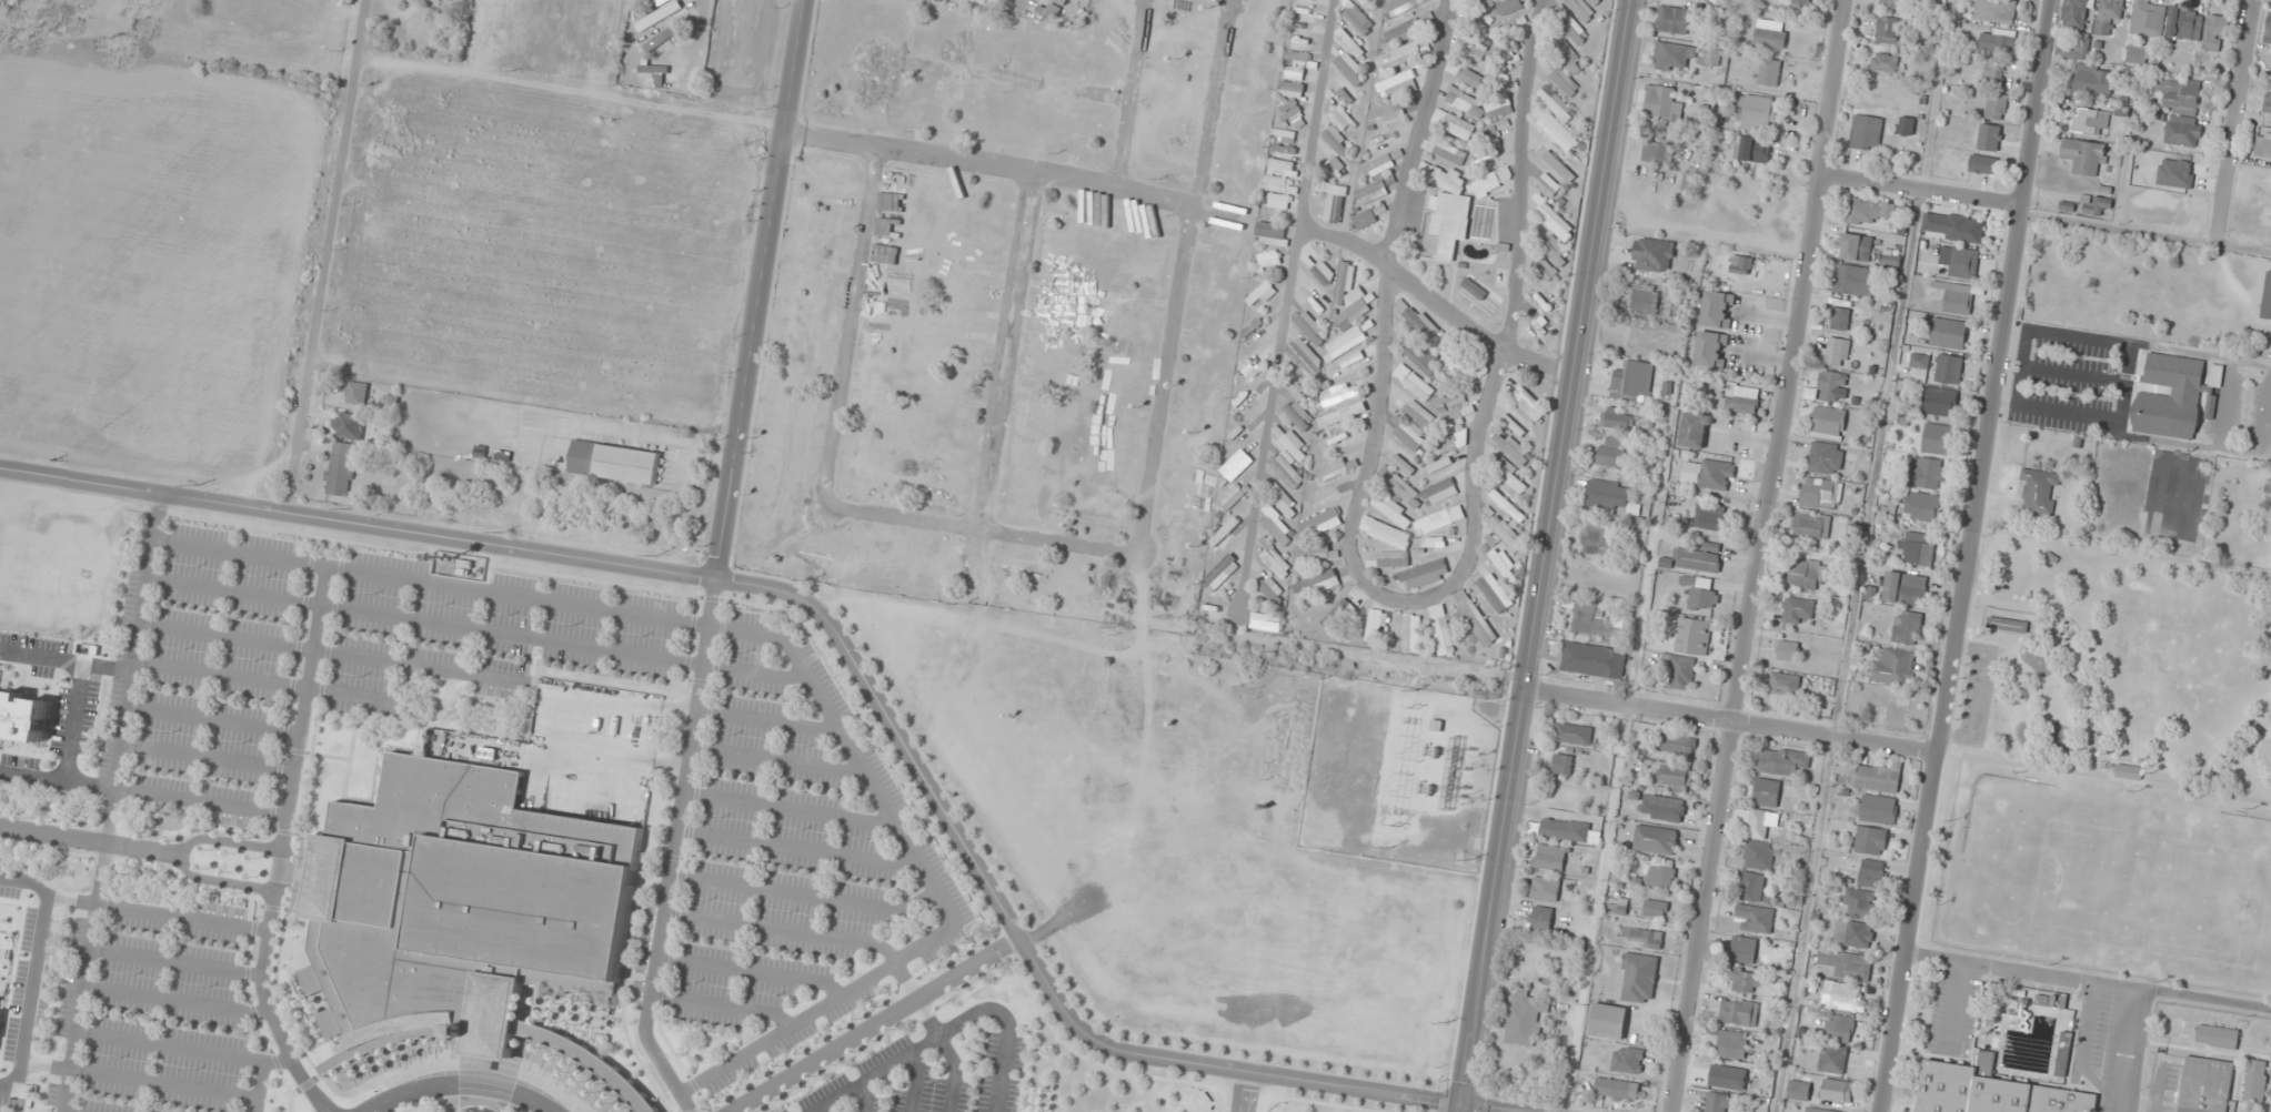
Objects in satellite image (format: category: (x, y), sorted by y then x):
building: (967, 1)
building: (1062, 1)
building: (1594, 1)
building: (1801, 1)
building: (84, 2)
building: (1368, 3)
building: (1897, 3)
building: (1400, 6)
building: (1580, 10)
building: (1994, 10)
building: (1302, 13)
building: (2074, 13)
building: (2108, 14)
building: (2149, 18)
building: (652, 19)
building: (1358, 19)
building: (1674, 19)
building: (1471, 21)
building: (2184, 22)
building: (1508, 26)
building: (1889, 29)
building: (1404, 30)
building: (1574, 30)
building: (2215, 30)
building: (1770, 32)
building: (2268, 36)
building: (662, 38)
building: (1997, 42)
building: (1354, 43)
building: (1299, 49)
building: (1488, 49)
building: (2137, 52)
building: (1398, 55)
building: (1684, 55)
building: (1568, 57)
building: (1885, 62)
building: (1350, 69)
building: (654, 70)
building: (1768, 71)
building: (1470, 77)
building: (2093, 79)
road: (1002, 80)
building: (1564, 81)
building: (1396, 83)
building: (1876, 88)
building: (1292, 89)
building: (2179, 92)
building: (1345, 93)
road: (1132, 94)
building: (1658, 101)
building: (1475, 103)
road: (1215, 104)
building: (2268, 105)
building: (1996, 107)
building: (1756, 110)
building: (1290, 112)
building: (1387, 112)
building: (1342, 119)
building: (2090, 121)
road: (2235, 121)
building: (1453, 123)
building: (1906, 125)
building: (1554, 128)
building: (2184, 131)
building: (1866, 132)
building: (1285, 135)
building: (1385, 140)
building: (1337, 141)
building: (1752, 150)
building: (1449, 152)
building: (1657, 152)
building: (1491, 154)
building: (2084, 156)
building: (1283, 159)
building: (1555, 161)
building: (1380, 163)
building: (1982, 164)
road: (1014, 169)
building: (1491, 182)
building: (1688, 183)
building: (1549, 184)
road: (1921, 191)
building: (1280, 192)
building: (1371, 192)
building: (1335, 203)
building: (2093, 204)
building: (1448, 208)
building: (1865, 211)
building: (1365, 219)
building: (1555, 221)
building: (1484, 222)
building: (1952, 226)
building: (1270, 233)
building: (1856, 246)
building: (1555, 250)
building: (1654, 254)
road: (332, 256)
building: (1964, 262)
building: (1740, 264)
building: (1545, 269)
building: (1500, 277)
building: (1855, 280)
road: (761, 290)
building: (1262, 294)
building: (1479, 294)
building: (1313, 296)
building: (1955, 296)
building: (1645, 300)
road: (1438, 302)
road: (1289, 307)
building: (1717, 309)
building: (1351, 313)
building: (1839, 319)
building: (1310, 327)
road: (851, 328)
building: (1948, 333)
building: (1346, 341)
building: (1711, 350)
road: (1006, 352)
building: (1837, 352)
building: (1254, 360)
building: (1440, 360)
building: (1349, 362)
building: (1919, 363)
building: (1948, 370)
building: (2215, 376)
building: (1632, 380)
road: (1167, 383)
building: (1418, 386)
building: (1831, 386)
building: (1343, 391)
building: (359, 393)
building: (1249, 393)
building: (2169, 397)
building: (1451, 398)
building: (1746, 401)
building: (1939, 402)
building: (1528, 403)
building: (2210, 407)
building: (1418, 413)
building: (1297, 414)
building: (1343, 415)
building: (1618, 421)
building: (1249, 422)
building: (1828, 422)
building: (351, 425)
building: (1695, 429)
building: (1408, 436)
building: (1937, 438)
building: (1448, 443)
building: (1295, 445)
building: (1511, 446)
building: (1611, 453)
building: (1825, 458)
building: (615, 462)
building: (1443, 467)
building: (342, 468)
building: (1232, 468)
building: (1286, 468)
building: (1332, 468)
building: (1929, 473)
building: (1509, 475)
building: (1716, 475)
building: (1400, 486)
building: (1440, 492)
building: (2038, 492)
building: (1608, 494)
building: (1820, 494)
building: (1229, 497)
building: (1283, 499)
building: (1922, 507)
building: (1710, 516)
building: (1439, 519)
building: (1322, 522)
building: (1277, 525)
building: (1811, 525)
road: (982, 532)
building: (1507, 533)
building: (1225, 534)
building: (1595, 537)
building: (1918, 549)
building: (1316, 550)
building: (1404, 553)
road: (1547, 555)
road: (1759, 555)
road: (1968, 556)
building: (1700, 558)
building: (1275, 559)
building: (1504, 565)
building: (1220, 573)
road: (982, 575)
building: (1808, 575)
road: (430, 582)
building: (1316, 583)
building: (1270, 588)
building: (1491, 588)
building: (1905, 589)
building: (1702, 595)
road: (1410, 598)
building: (1798, 609)
building: (1338, 611)
building: (1474, 618)
building: (1597, 619)
building: (1266, 620)
building: (1373, 625)
building: (2008, 625)
building: (1907, 627)
road: (476, 628)
building: (1441, 630)
building: (1409, 633)
building: (1694, 636)
road: (847, 650)
building: (1789, 650)
road: (42, 651)
road: (331, 651)
building: (1594, 659)
park: (2129, 661)
road: (109, 666)
road: (133, 667)
building: (1893, 667)
building: (1682, 673)
building: (1785, 684)
road: (289, 685)
power tower: (1414, 707)
building: (22, 715)
road: (764, 719)
road: (213, 720)
road: (1732, 721)
building: (1574, 734)
building: (1677, 744)
road: (69, 747)
road: (208, 758)
road: (775, 760)
building: (1781, 761)
building: (1562, 764)
building: (2129, 770)
power substation: (1398, 775)
building: (1674, 778)
building: (1878, 778)
road: (84, 782)
building: (1767, 792)
road: (201, 801)
building: (1662, 808)
road: (786, 809)
building: (1878, 809)
building: (1756, 821)
power tower: (1395, 826)
building: (1565, 829)
road: (53, 833)
road: (282, 840)
building: (1656, 840)
building: (1869, 840)
road: (796, 847)
road: (145, 848)
road: (671, 851)
road: (184, 855)
building: (1759, 855)
building: (1549, 857)
building: (1659, 873)
building: (1871, 878)
park: (2101, 878)
road: (934, 886)
building: (1752, 887)
building: (1545, 889)
road: (803, 896)
building: (1860, 902)
building: (1618, 907)
building: (1656, 909)
building: (464, 912)
road: (158, 913)
building: (1540, 918)
building: (1757, 918)
road: (780, 930)
building: (1853, 934)
building: (1645, 938)
building: (1745, 950)
road: (177, 962)
building: (1847, 964)
road: (36, 971)
road: (746, 972)
road: (87, 977)
building: (1638, 977)
building: (1745, 981)
building: (1134, 987)
building: (1845, 997)
building: (0, 1001)
road: (179, 1001)
road: (719, 1005)
building: (1739, 1012)
building: (1525, 1019)
building: (1609, 1021)
road: (871, 1023)
road: (1004, 1028)
building: (1839, 1028)
road: (935, 1032)
building: (2217, 1037)
building: (1732, 1044)
road: (184, 1049)
building: (2063, 1054)
building: (1833, 1059)
building: (1628, 1060)
road: (872, 1072)
building: (1728, 1076)
road: (140, 1079)
road: (915, 1080)
building: (2255, 1081)
road: (460, 1083)
building: (2204, 1084)
road: (261, 1086)
building: (1612, 1089)
building: (1799, 1090)
building: (1837, 1090)
road: (1242, 1091)
building: (1990, 1091)
road: (864, 1095)
road: (460, 1100)
building: (1724, 1102)
park: (460, 1105)
road: (322, 1106)
road: (330, 1106)
road: (455, 1106)
traffic signals: (1467, 1106)
road: (436, 1108)
road: (821, 1108)
building: (1818, 1110)
road: (510, 1111)

